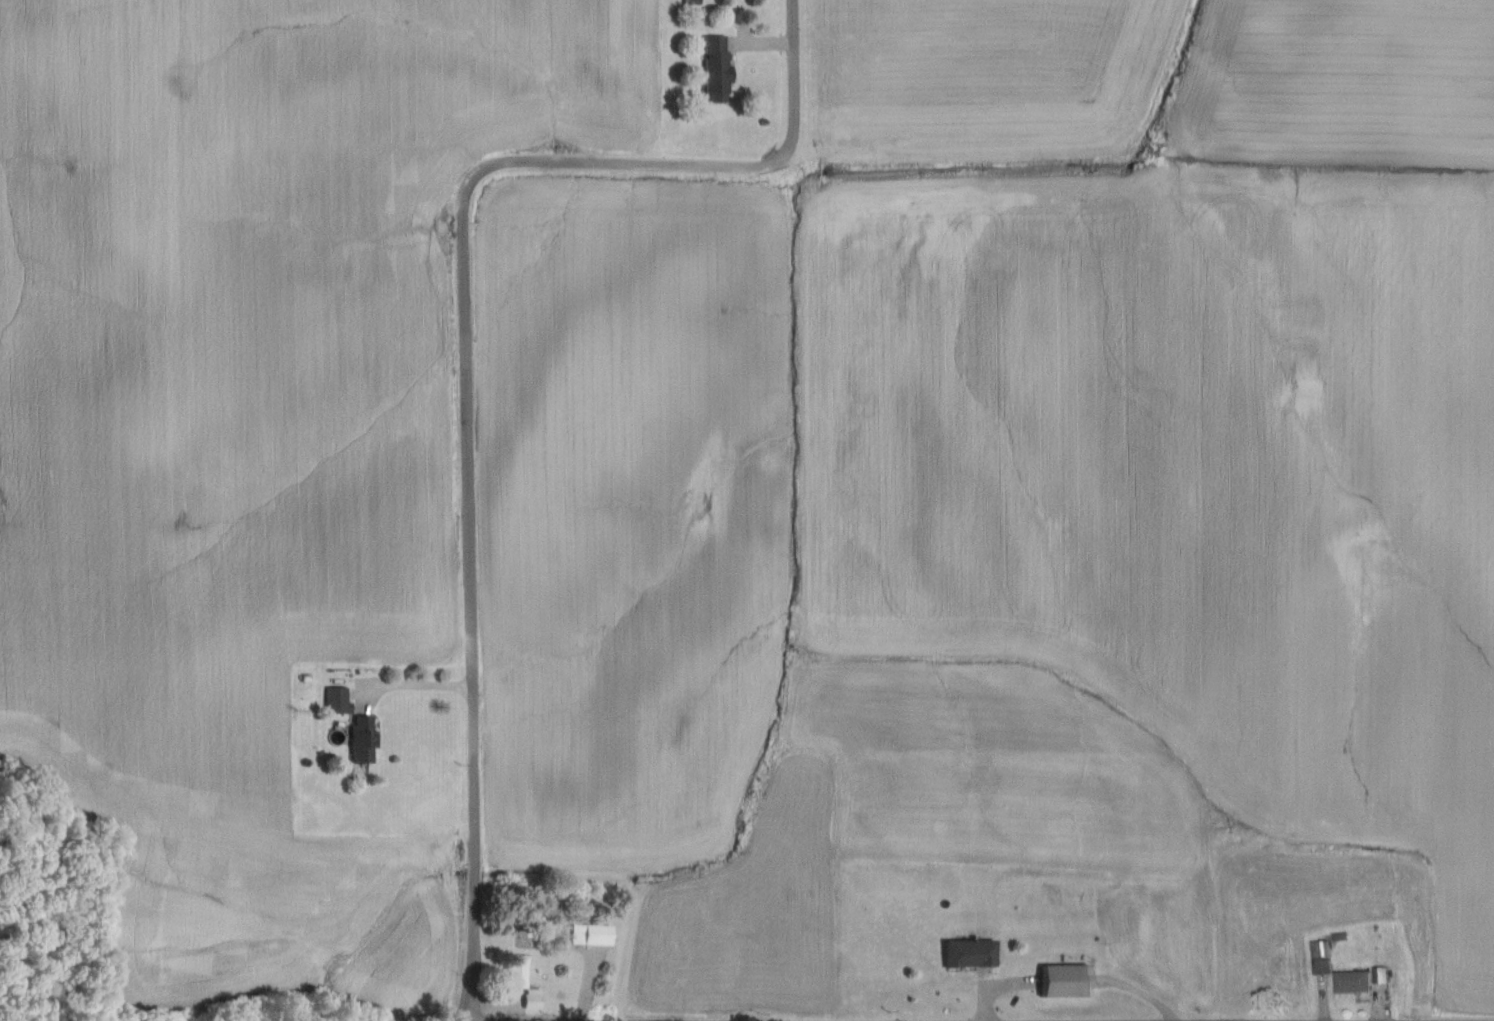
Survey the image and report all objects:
building: (718, 70)
road: (465, 361)
road: (419, 685)
building: (337, 700)
building: (365, 739)
building: (593, 935)
building: (972, 954)
building: (1322, 957)
building: (518, 972)
building: (1384, 975)
building: (1356, 982)
building: (534, 999)
road: (465, 1020)

